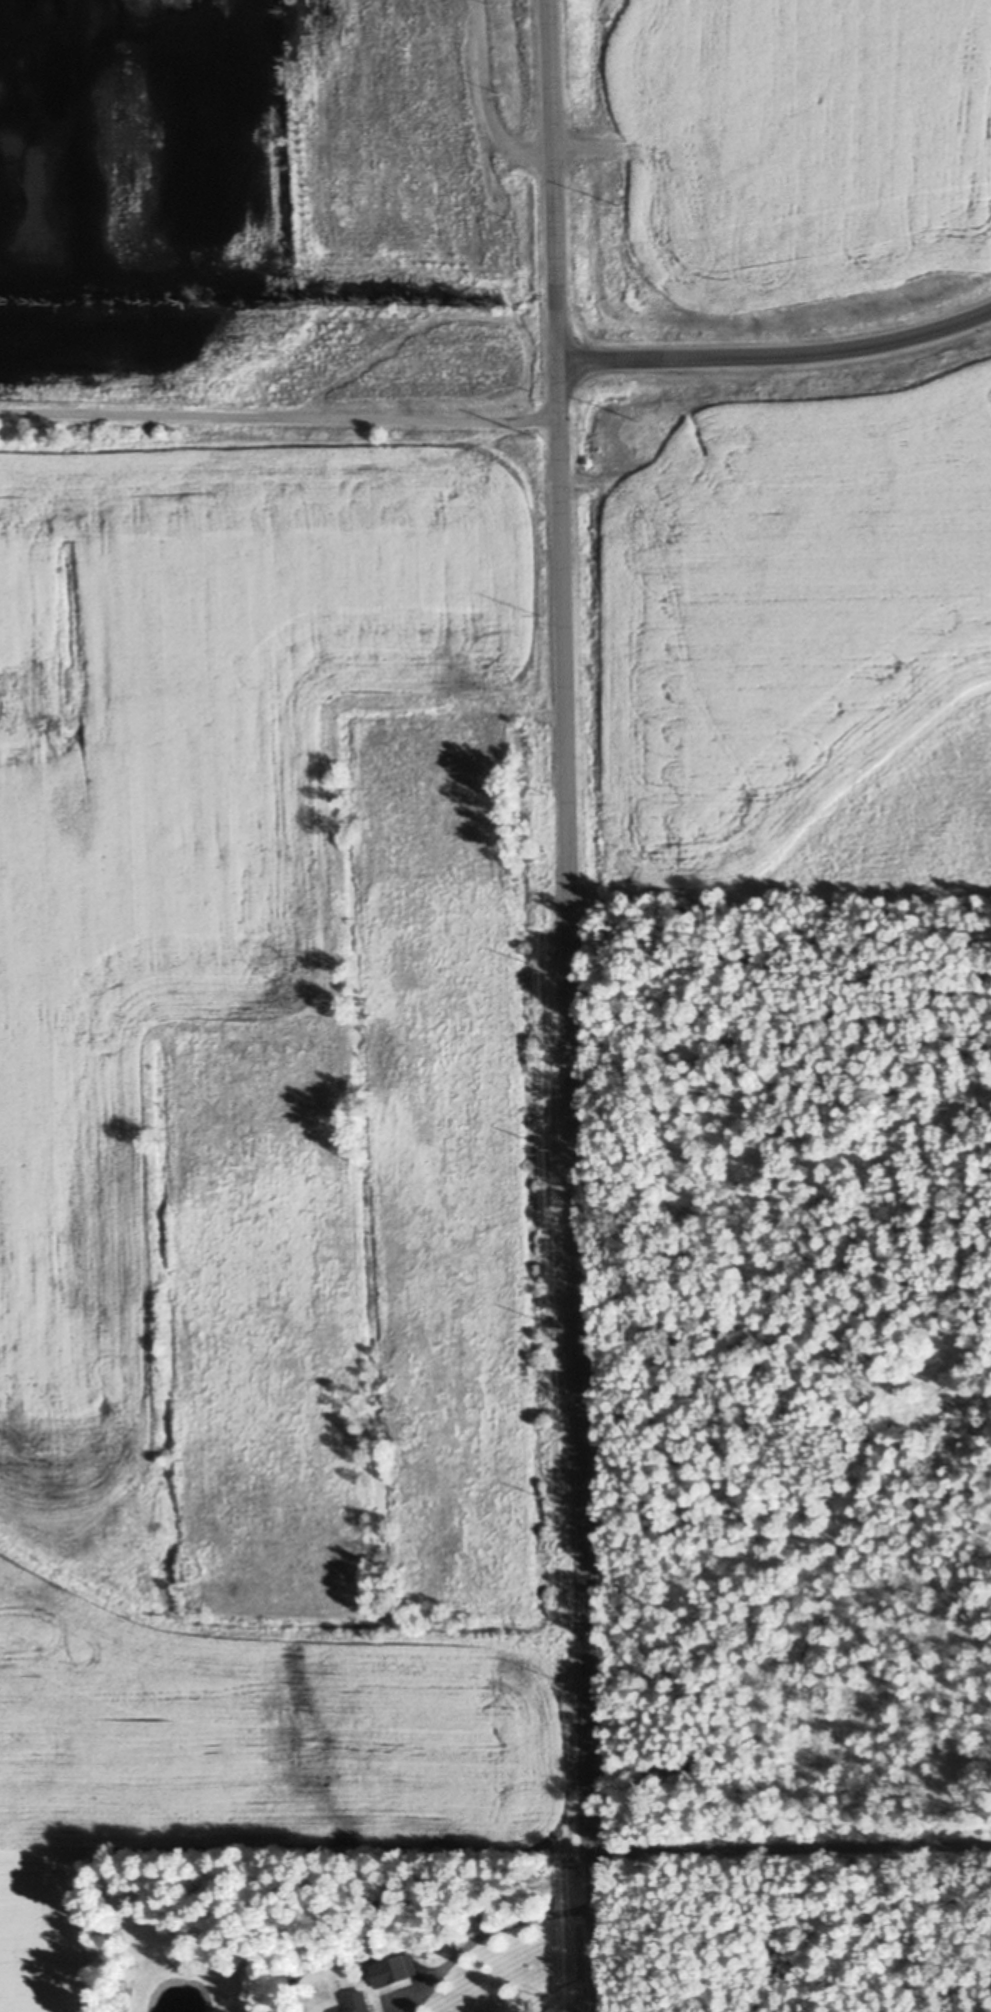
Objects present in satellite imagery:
road: (487, 97)
road: (776, 353)
road: (279, 413)
road: (573, 1006)
road: (74, 1037)
road: (793, 1845)
road: (502, 1923)
building: (400, 1968)
building: (358, 2003)

